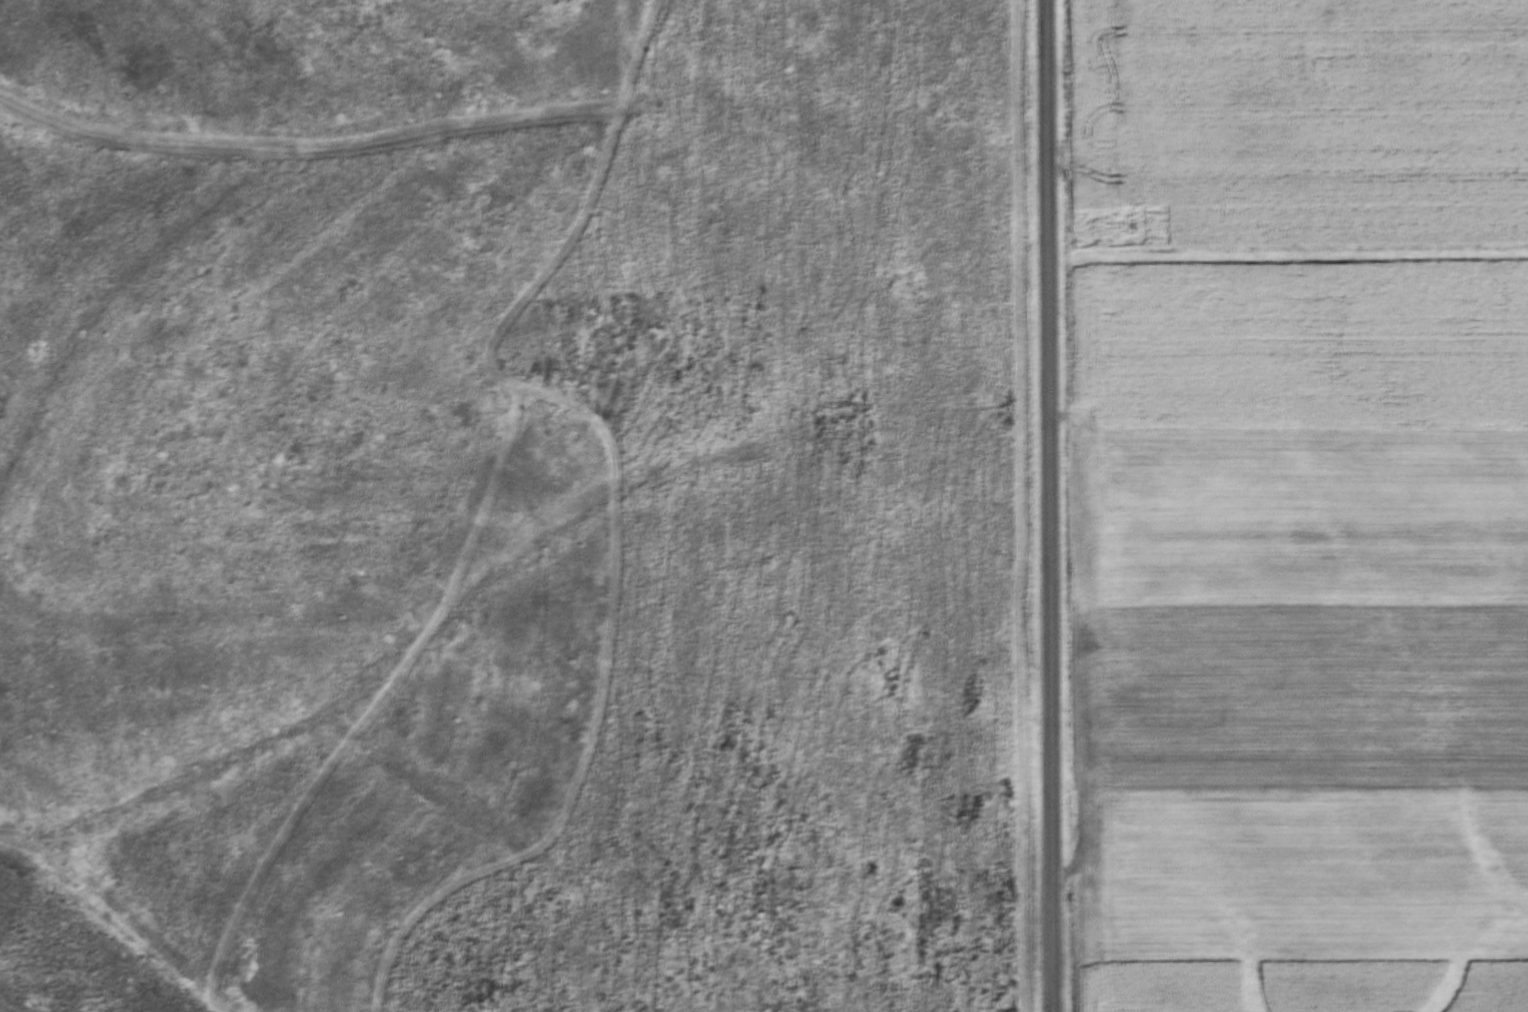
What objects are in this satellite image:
road: (1051, 506)

